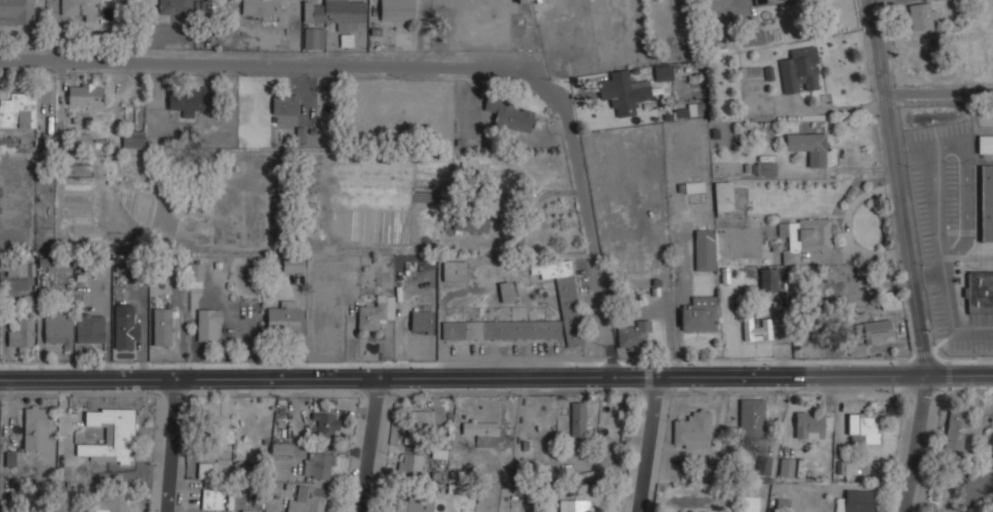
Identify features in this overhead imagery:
building: (926, 0)
building: (770, 2)
building: (257, 7)
building: (171, 8)
building: (78, 9)
building: (396, 10)
building: (16, 12)
building: (335, 13)
building: (499, 17)
building: (919, 17)
building: (310, 38)
road: (388, 68)
building: (799, 71)
building: (663, 74)
road: (937, 90)
building: (617, 93)
building: (84, 94)
building: (189, 99)
building: (284, 104)
building: (18, 111)
building: (512, 118)
building: (132, 139)
building: (81, 140)
building: (985, 144)
building: (814, 149)
building: (765, 168)
building: (694, 187)
road: (896, 187)
road: (964, 191)
building: (722, 197)
building: (986, 204)
road: (935, 207)
building: (470, 223)
parking lot: (943, 229)
building: (803, 238)
building: (704, 249)
building: (292, 265)
building: (16, 268)
building: (453, 271)
building: (195, 273)
building: (767, 279)
building: (979, 292)
building: (504, 293)
building: (567, 299)
building: (889, 301)
building: (374, 314)
building: (699, 314)
building: (776, 314)
building: (283, 318)
road: (950, 318)
building: (421, 322)
building: (208, 325)
building: (161, 327)
building: (57, 329)
building: (90, 329)
building: (755, 330)
building: (876, 331)
building: (125, 332)
road: (609, 335)
building: (631, 335)
building: (20, 336)
road: (496, 377)
building: (578, 419)
building: (751, 419)
building: (419, 421)
building: (809, 425)
building: (34, 427)
building: (326, 427)
building: (955, 428)
building: (861, 429)
building: (481, 430)
building: (691, 431)
building: (110, 435)
building: (216, 435)
road: (913, 443)
road: (645, 444)
road: (169, 445)
road: (374, 445)
building: (438, 450)
building: (280, 461)
building: (410, 464)
building: (317, 465)
building: (763, 465)
building: (786, 467)
building: (846, 467)
building: (204, 471)
building: (975, 485)
building: (211, 500)
building: (307, 500)
building: (111, 501)
building: (856, 501)
building: (749, 504)
building: (413, 506)
building: (573, 506)
building: (249, 511)

